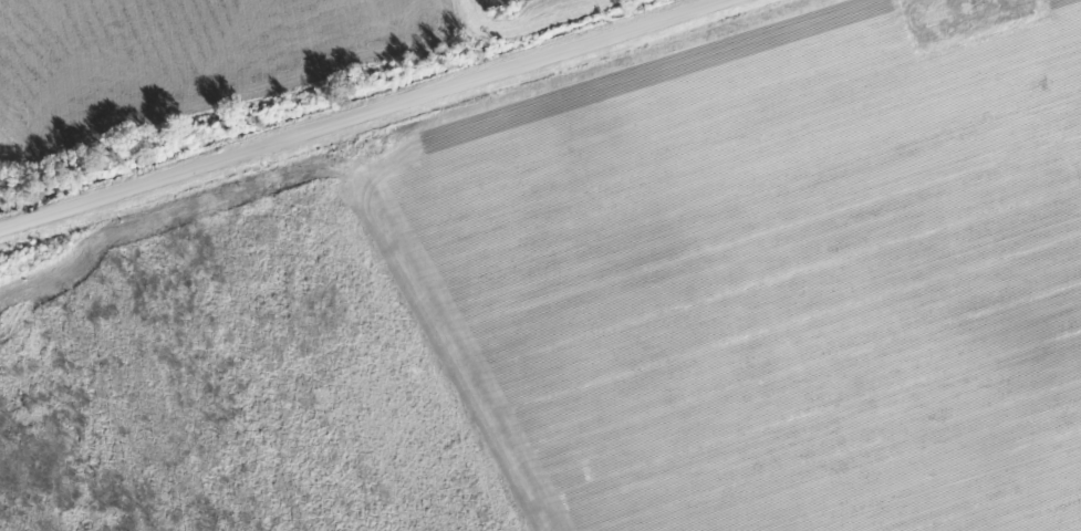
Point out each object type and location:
road: (370, 115)

